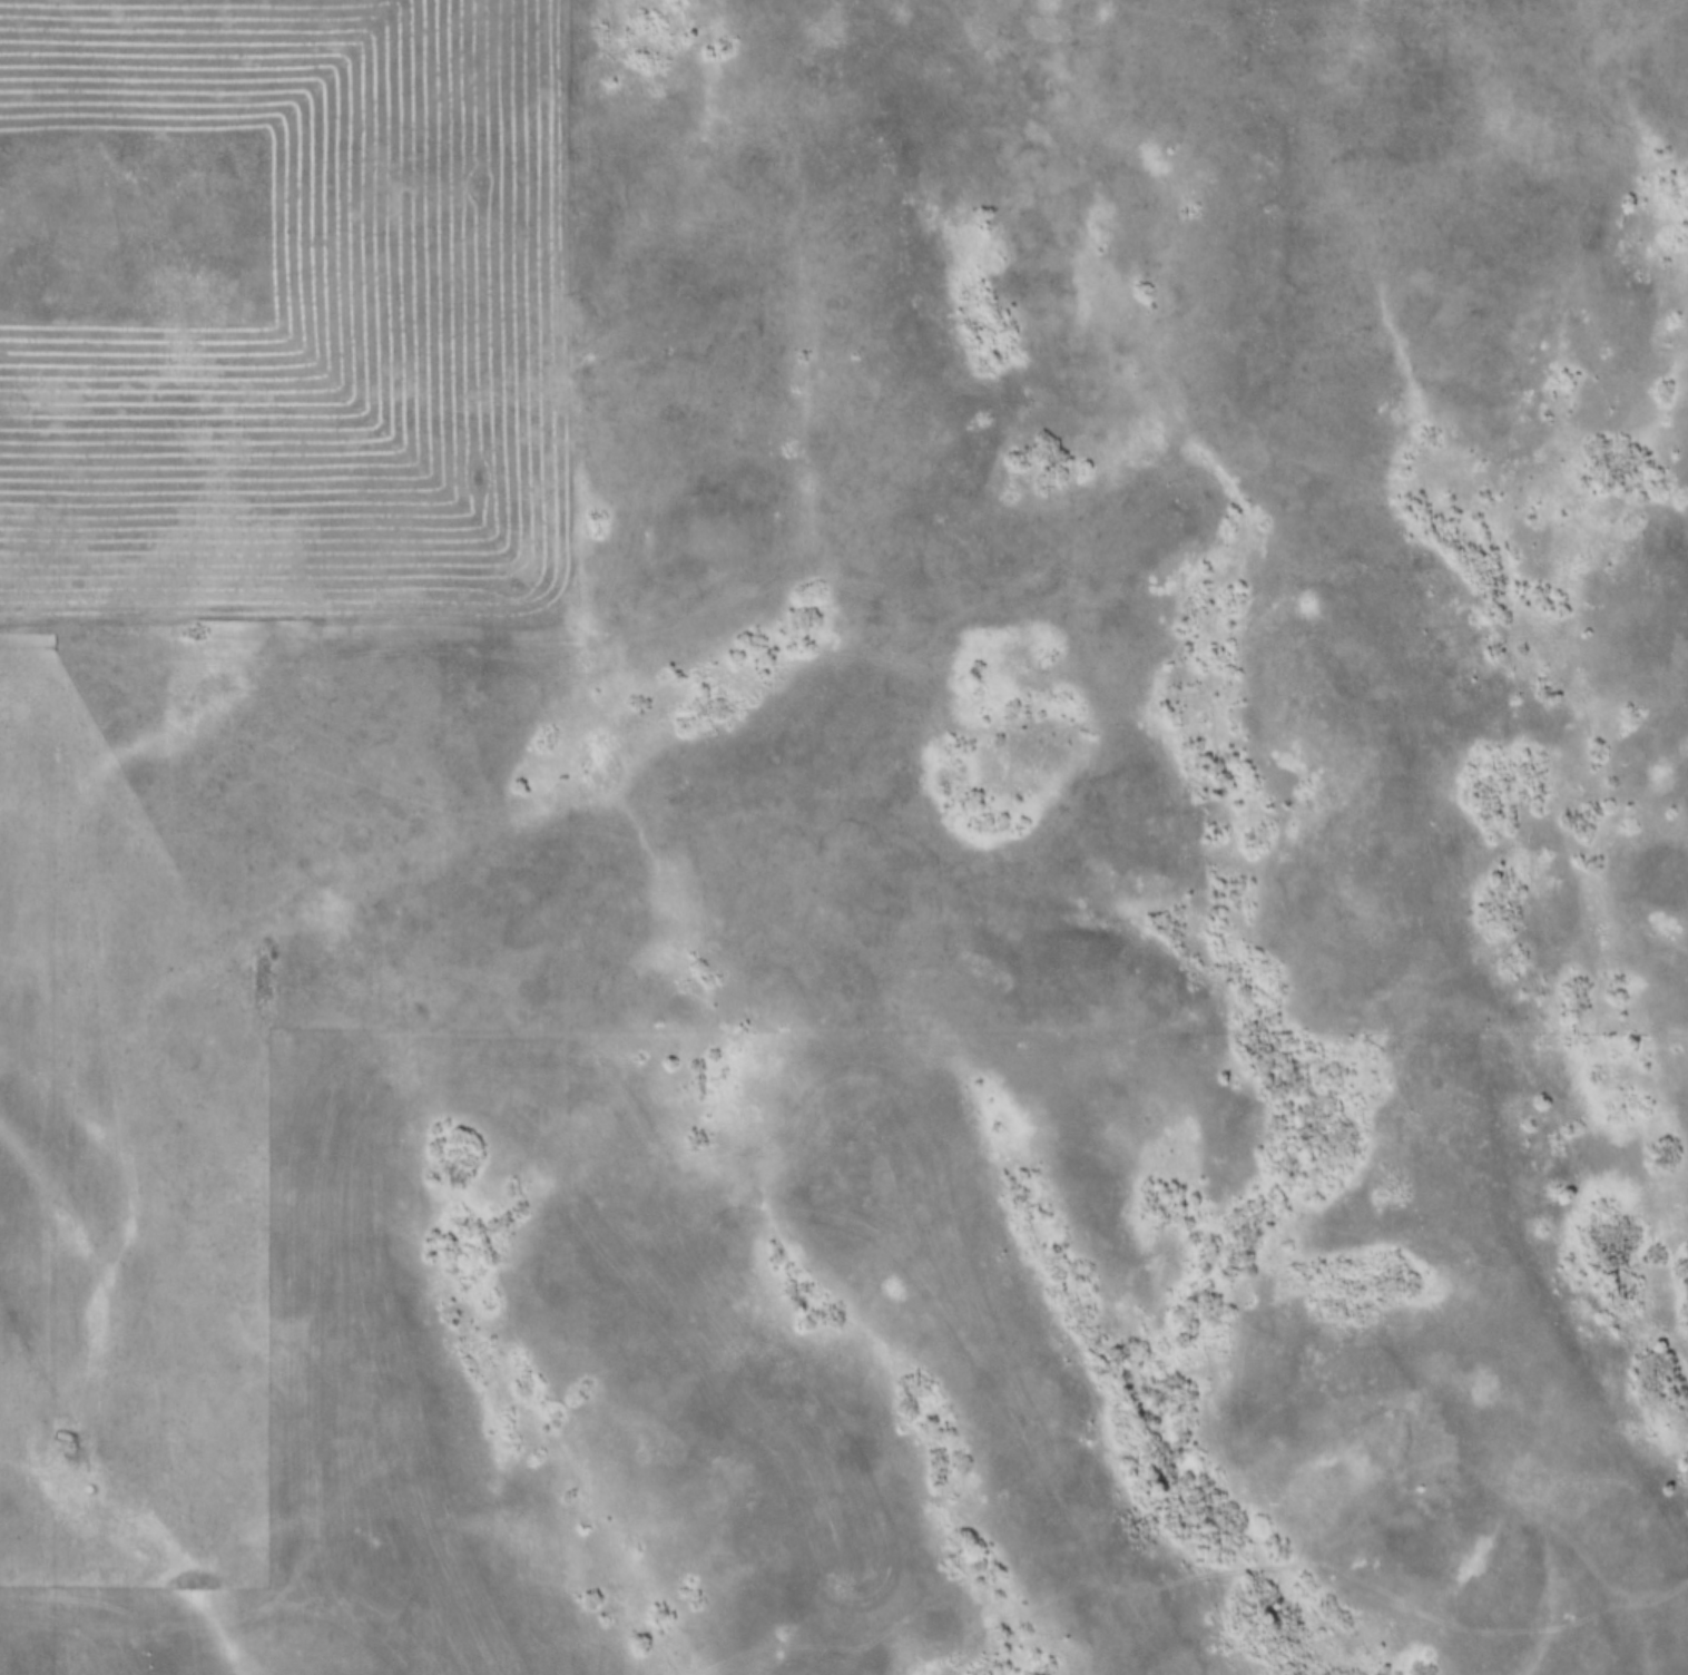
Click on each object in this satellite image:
road: (82, 992)

